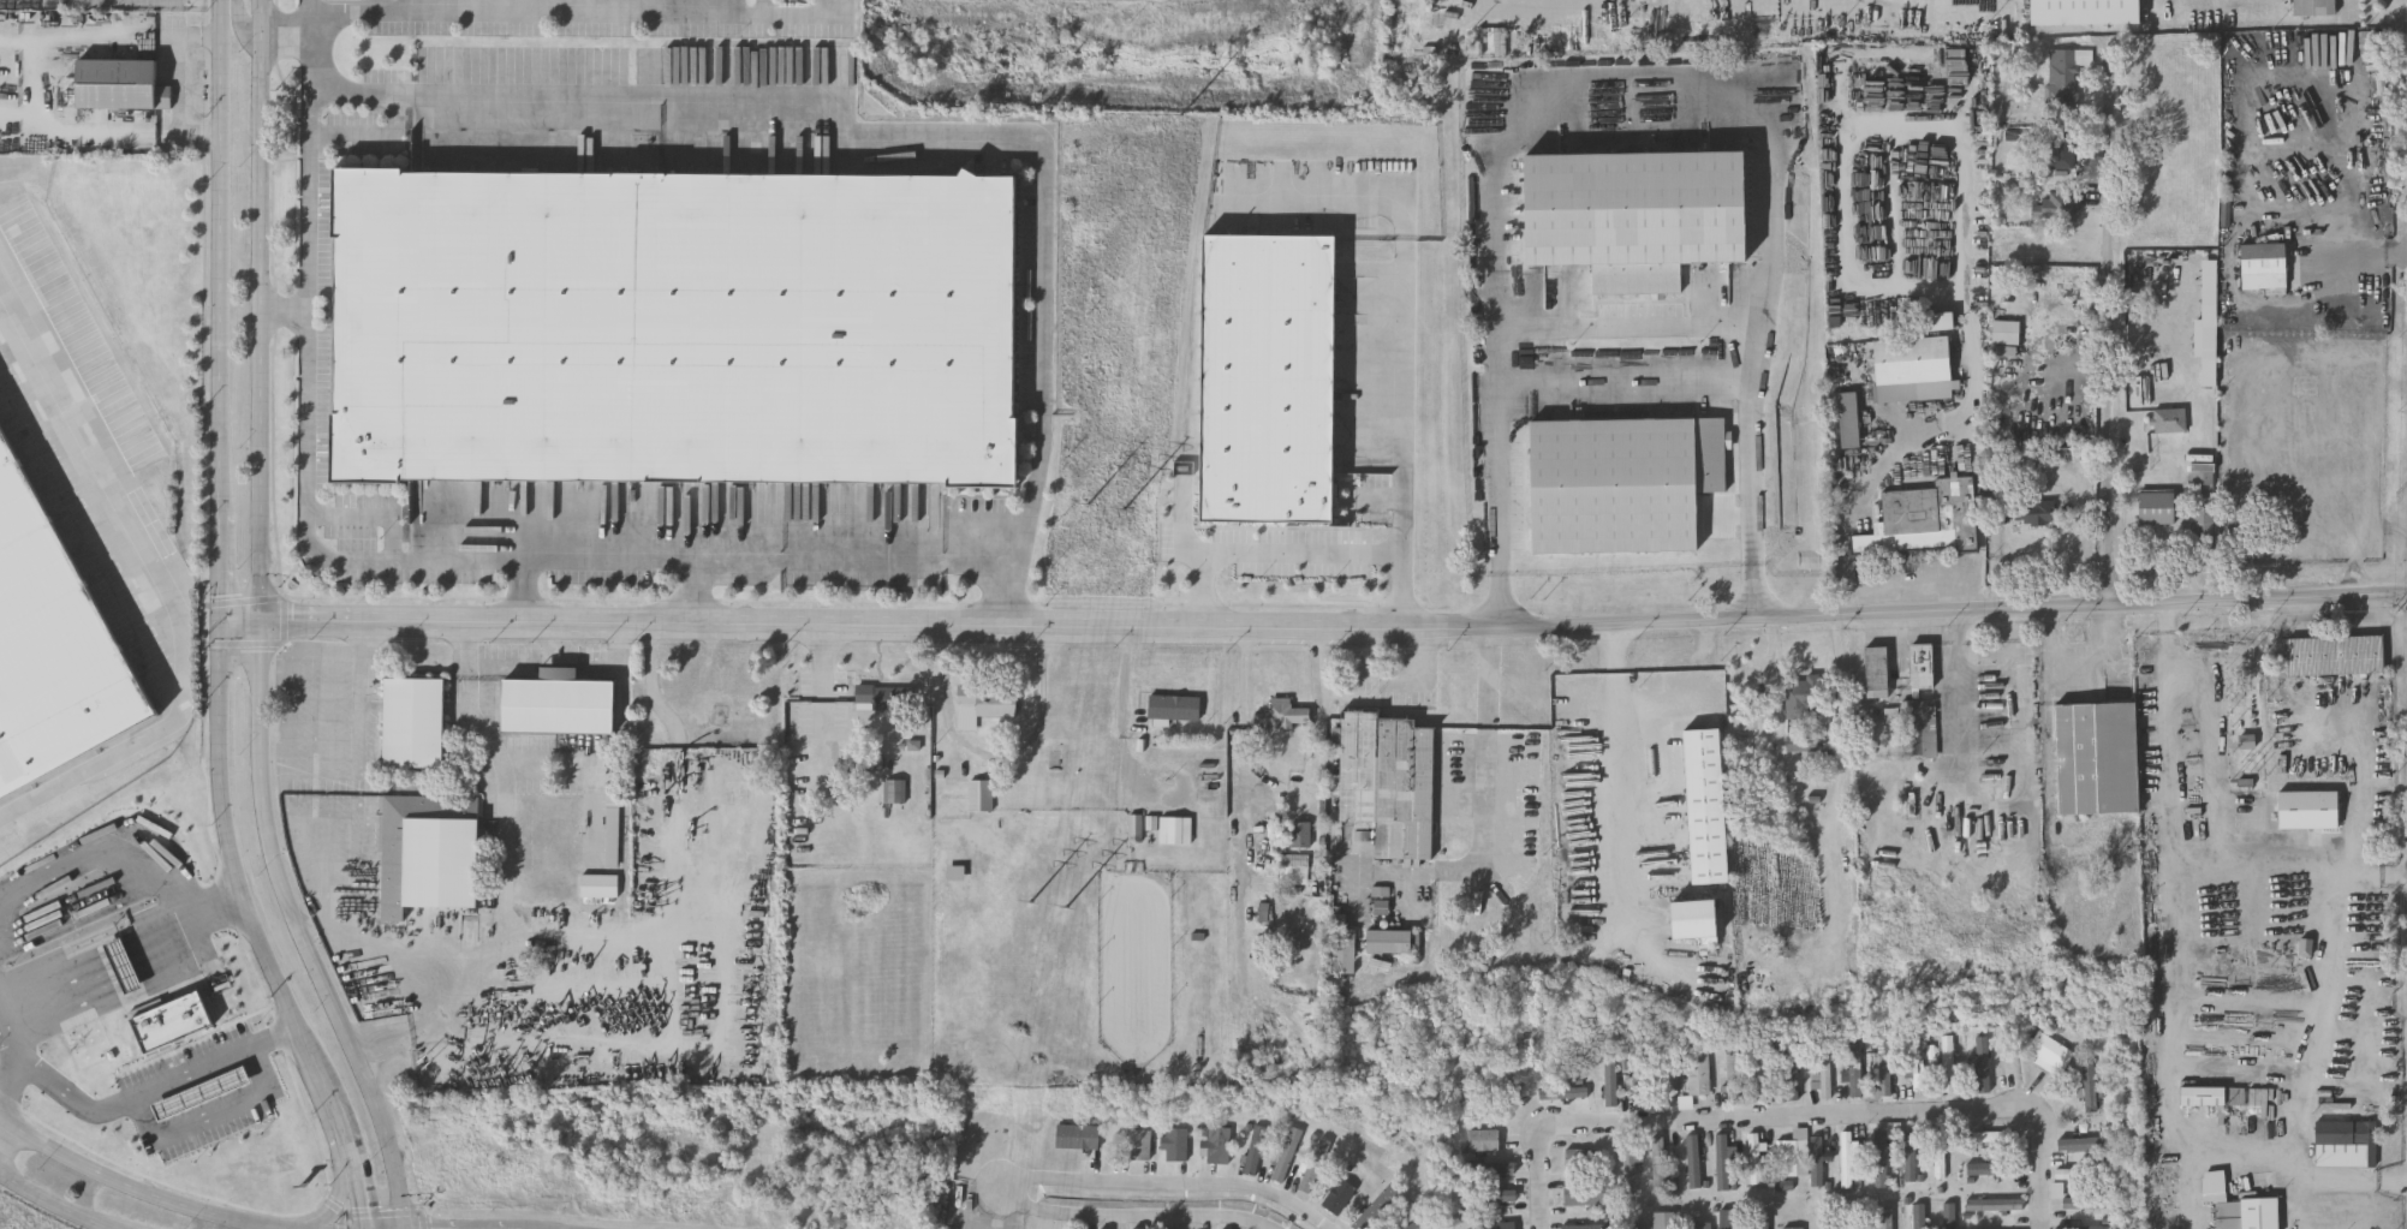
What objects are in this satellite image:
power tower: (1162, 1)
road: (1535, 5)
building: (2312, 8)
road: (306, 10)
road: (555, 11)
building: (2081, 12)
road: (243, 26)
road: (312, 54)
building: (2066, 76)
building: (120, 84)
road: (181, 86)
road: (1631, 95)
building: (2169, 114)
power tower: (1184, 117)
building: (2054, 213)
building: (1633, 214)
building: (2157, 219)
road: (220, 231)
road: (1045, 234)
road: (1962, 234)
road: (2352, 255)
building: (2263, 264)
building: (2162, 305)
road: (1404, 312)
road: (287, 314)
road: (1628, 317)
building: (674, 323)
road: (2114, 329)
road: (2305, 352)
building: (1909, 362)
building: (1268, 378)
road: (1625, 386)
building: (1691, 413)
building: (2170, 423)
road: (310, 426)
building: (1621, 482)
power tower: (1091, 507)
building: (2155, 507)
building: (2032, 513)
road: (371, 517)
power tower: (1126, 517)
building: (1923, 520)
road: (221, 542)
road: (1301, 555)
road: (161, 585)
road: (525, 593)
road: (703, 595)
road: (1007, 598)
road: (1903, 616)
traffic signals: (221, 622)
traffic signals: (262, 622)
road: (261, 627)
road: (810, 628)
building: (53, 644)
building: (2335, 654)
road: (826, 657)
road: (619, 672)
road: (483, 673)
building: (1878, 673)
road: (561, 675)
building: (1805, 698)
building: (884, 699)
road: (288, 702)
building: (1922, 704)
building: (560, 705)
building: (984, 706)
building: (1172, 706)
building: (1283, 716)
building: (416, 724)
road: (1483, 752)
building: (2097, 758)
road: (1621, 777)
building: (1388, 782)
road: (2211, 784)
building: (894, 793)
building: (978, 797)
building: (1705, 809)
building: (618, 828)
building: (1133, 829)
road: (231, 861)
building: (430, 861)
road: (118, 864)
road: (326, 879)
building: (618, 882)
power tower: (1033, 905)
power tower: (1068, 914)
building: (1390, 936)
building: (1347, 953)
building: (618, 965)
road: (415, 967)
building: (618, 1019)
road: (2311, 1044)
building: (2051, 1052)
building: (431, 1060)
building: (1949, 1066)
building: (1919, 1068)
building: (1857, 1070)
building: (1825, 1073)
building: (1699, 1074)
building: (1883, 1075)
building: (1734, 1080)
building: (1763, 1081)
building: (1672, 1082)
road: (13, 1085)
building: (2215, 1096)
road: (332, 1099)
road: (131, 1103)
road: (211, 1116)
road: (1785, 1121)
building: (1079, 1136)
road: (346, 1138)
building: (1996, 1139)
building: (1485, 1143)
building: (2348, 1143)
building: (1142, 1144)
building: (1179, 1144)
building: (1222, 1145)
building: (2087, 1146)
building: (1259, 1151)
building: (1291, 1155)
building: (1758, 1156)
building: (1884, 1156)
building: (1941, 1156)
building: (1789, 1161)
building: (1583, 1162)
road: (2208, 1162)
building: (1318, 1167)
building: (1661, 1168)
building: (1632, 1171)
road: (2039, 1173)
road: (1539, 1180)
road: (129, 1182)
road: (1130, 1186)
road: (361, 1193)
building: (1342, 1195)
building: (1591, 1195)
road: (52, 1201)
road: (335, 1204)
building: (2084, 1204)
building: (1996, 1206)
building: (2240, 1206)
building: (1380, 1207)
building: (1950, 1217)
building: (1887, 1218)
road: (1137, 1219)
building: (1922, 1219)
building: (1733, 1221)
building: (1860, 1221)
building: (1666, 1222)
building: (1829, 1222)
building: (1416, 1227)
building: (1501, 1227)
building: (1636, 1227)
building: (1140, 1228)
building: (1703, 1228)

